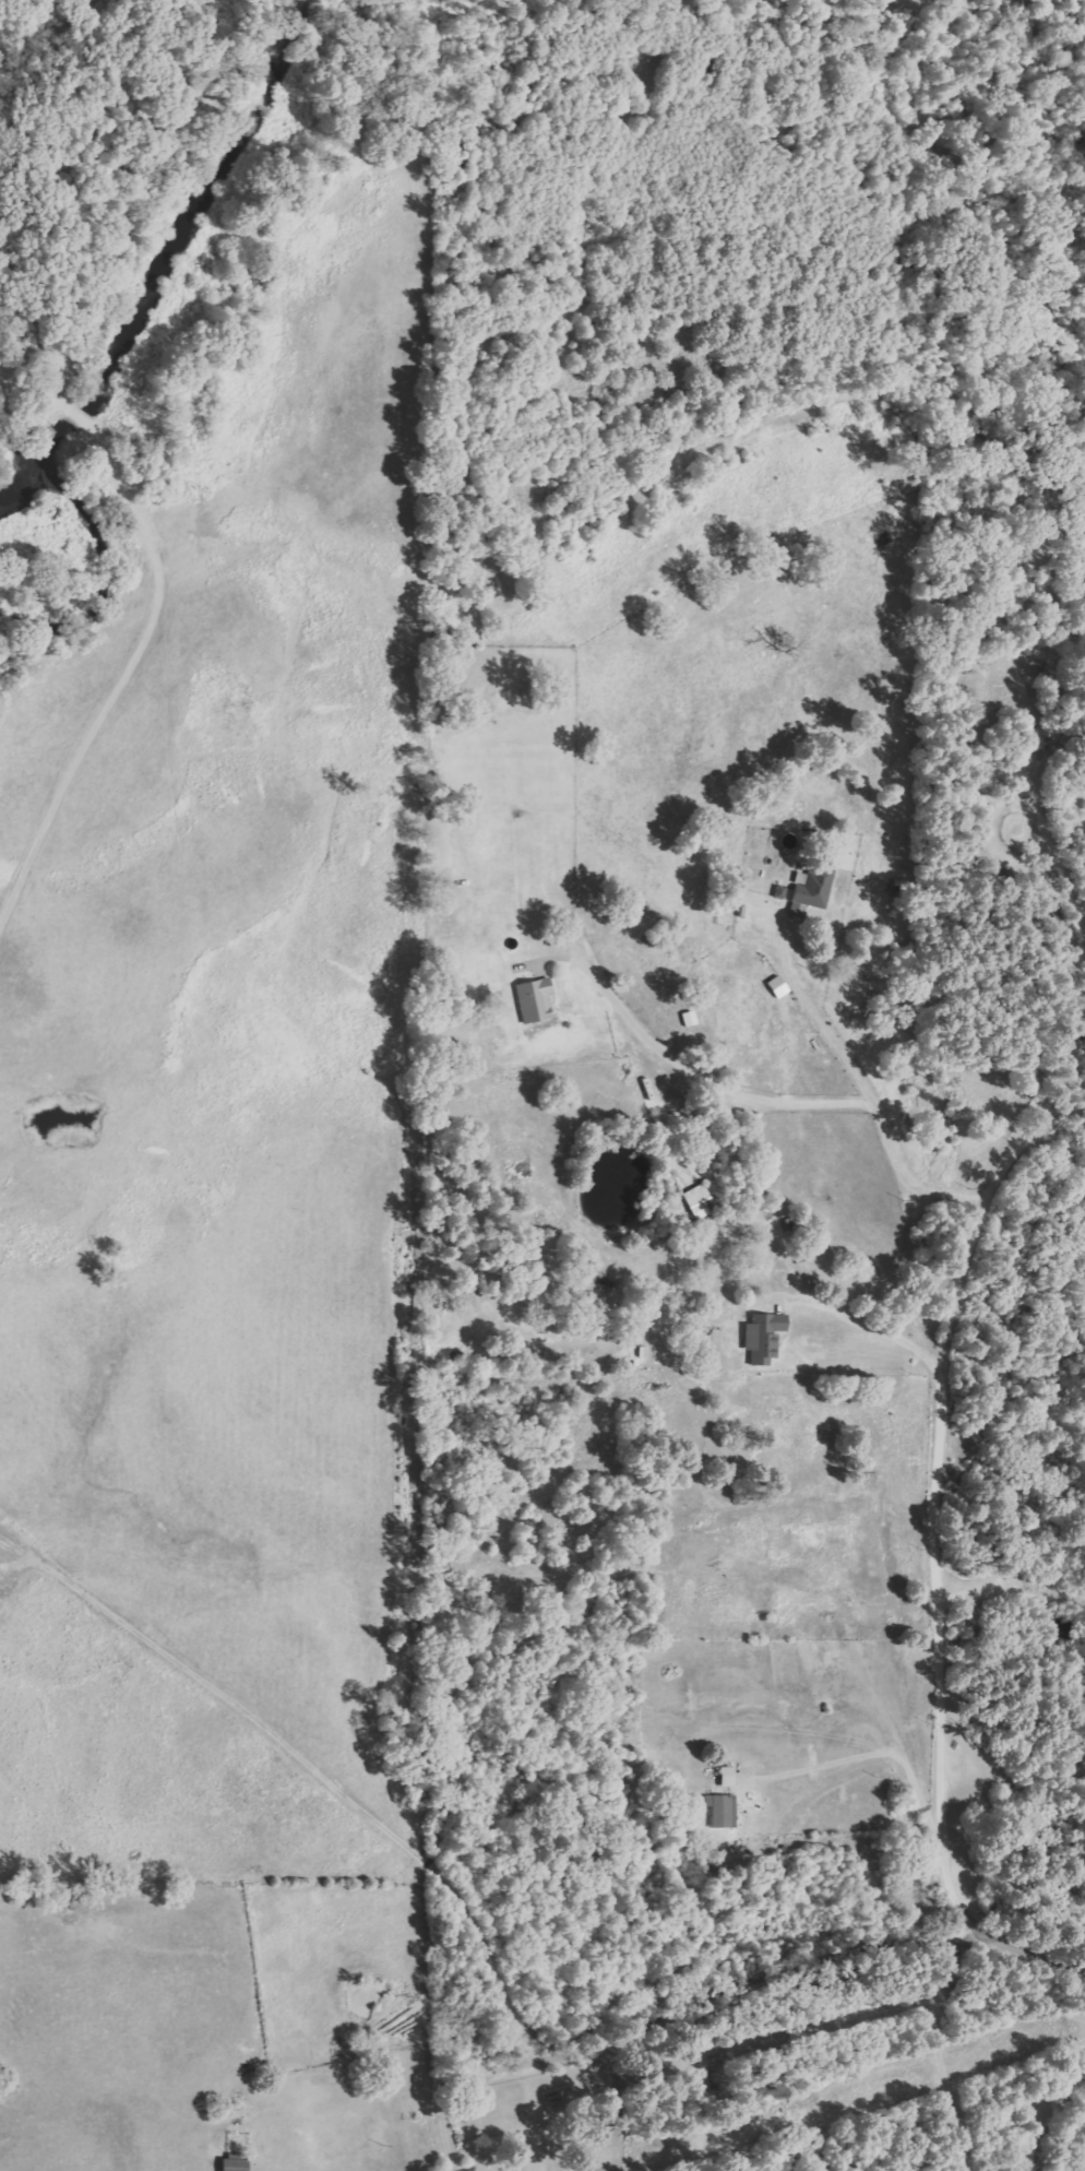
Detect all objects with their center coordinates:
building: (778, 893)
building: (808, 894)
building: (775, 987)
building: (532, 1000)
road: (967, 1253)
building: (761, 1338)
building: (724, 1778)
building: (719, 1812)
road: (799, 1969)
building: (230, 2163)

